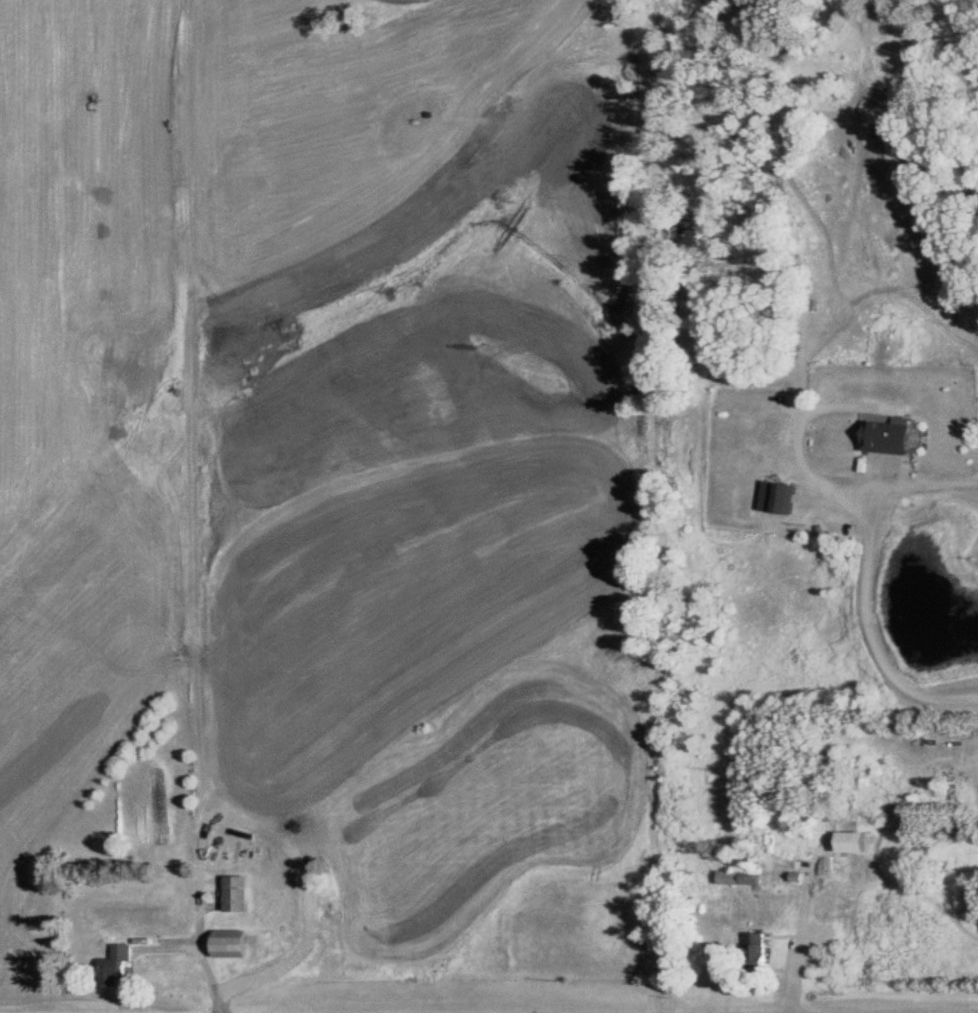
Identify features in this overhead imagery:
crop: (79, 417)
building: (894, 435)
building: (780, 498)
road: (871, 624)
building: (856, 843)
building: (739, 879)
building: (240, 895)
building: (236, 944)
building: (754, 947)
building: (117, 966)

